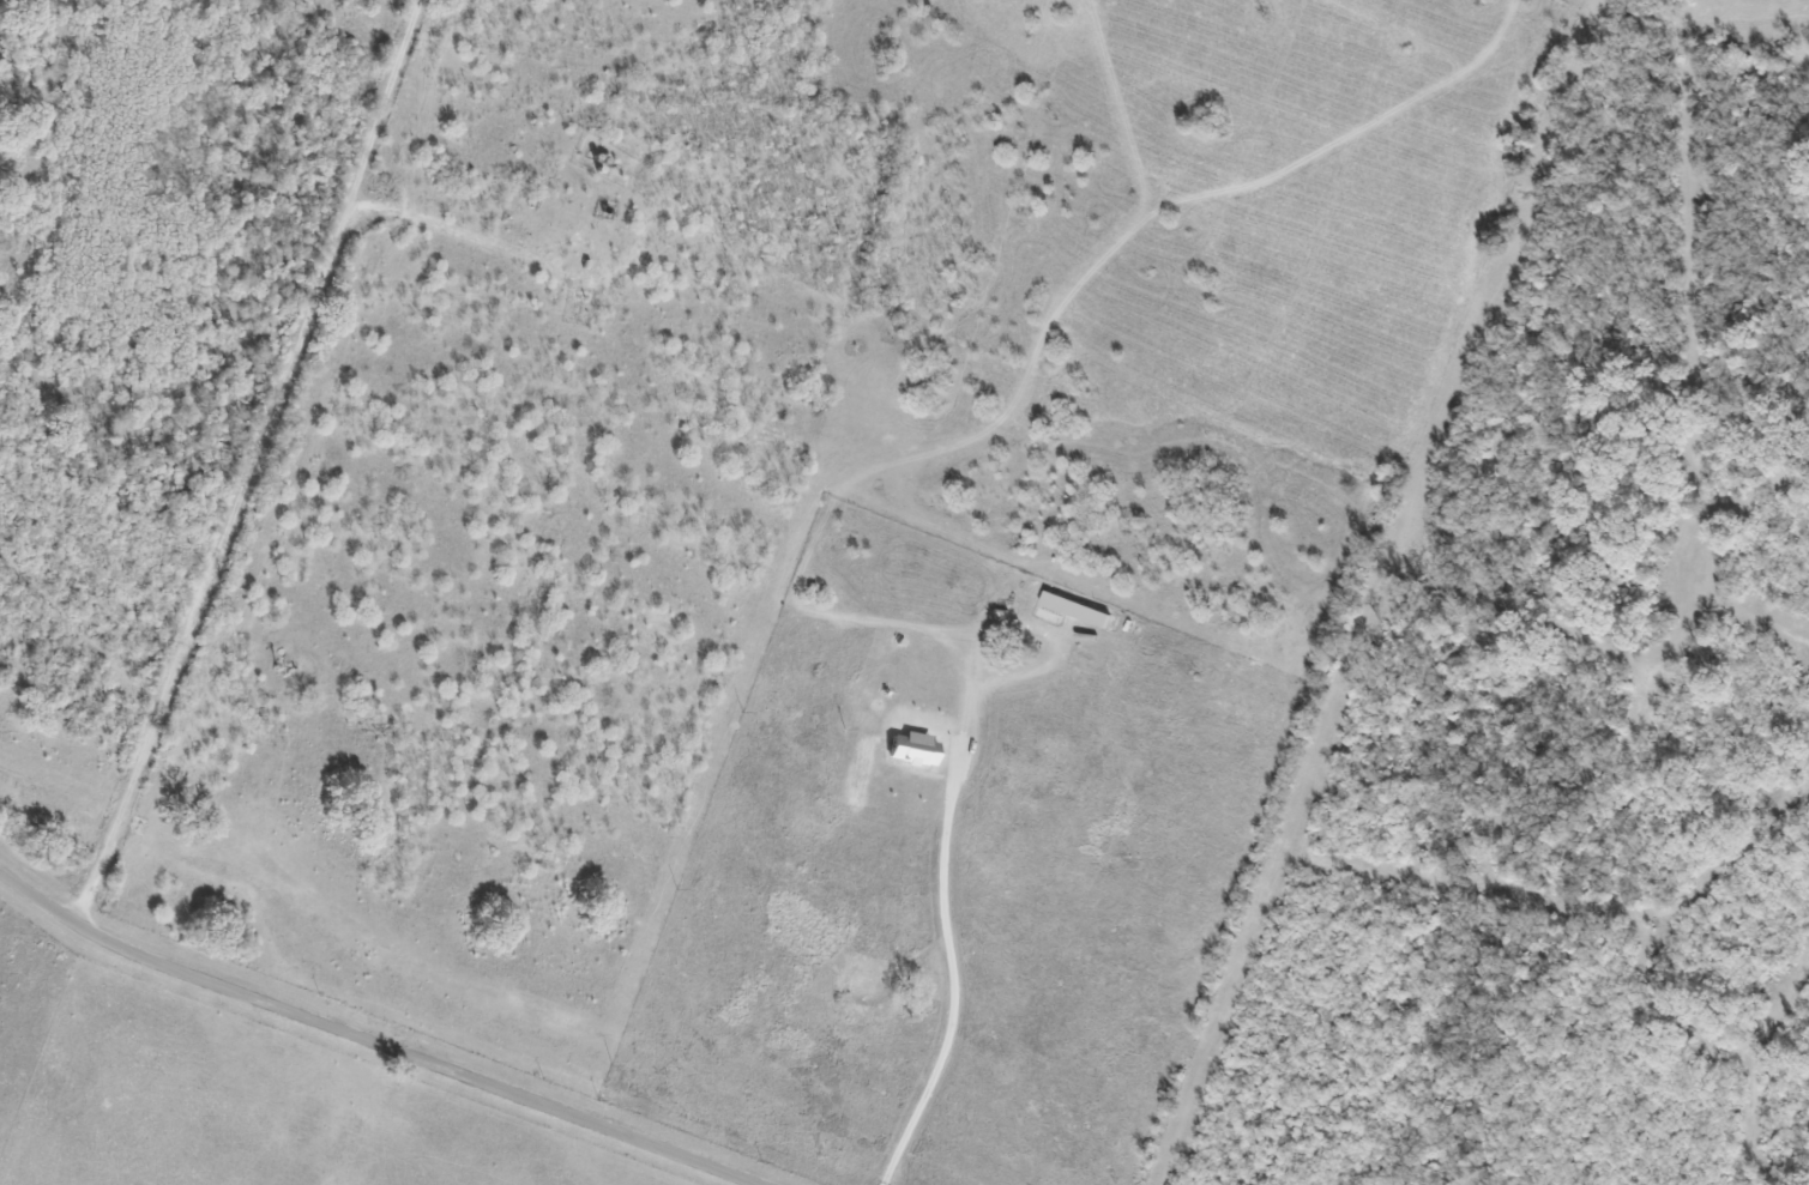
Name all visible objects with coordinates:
road: (245, 461)
road: (35, 899)
road: (408, 1056)

